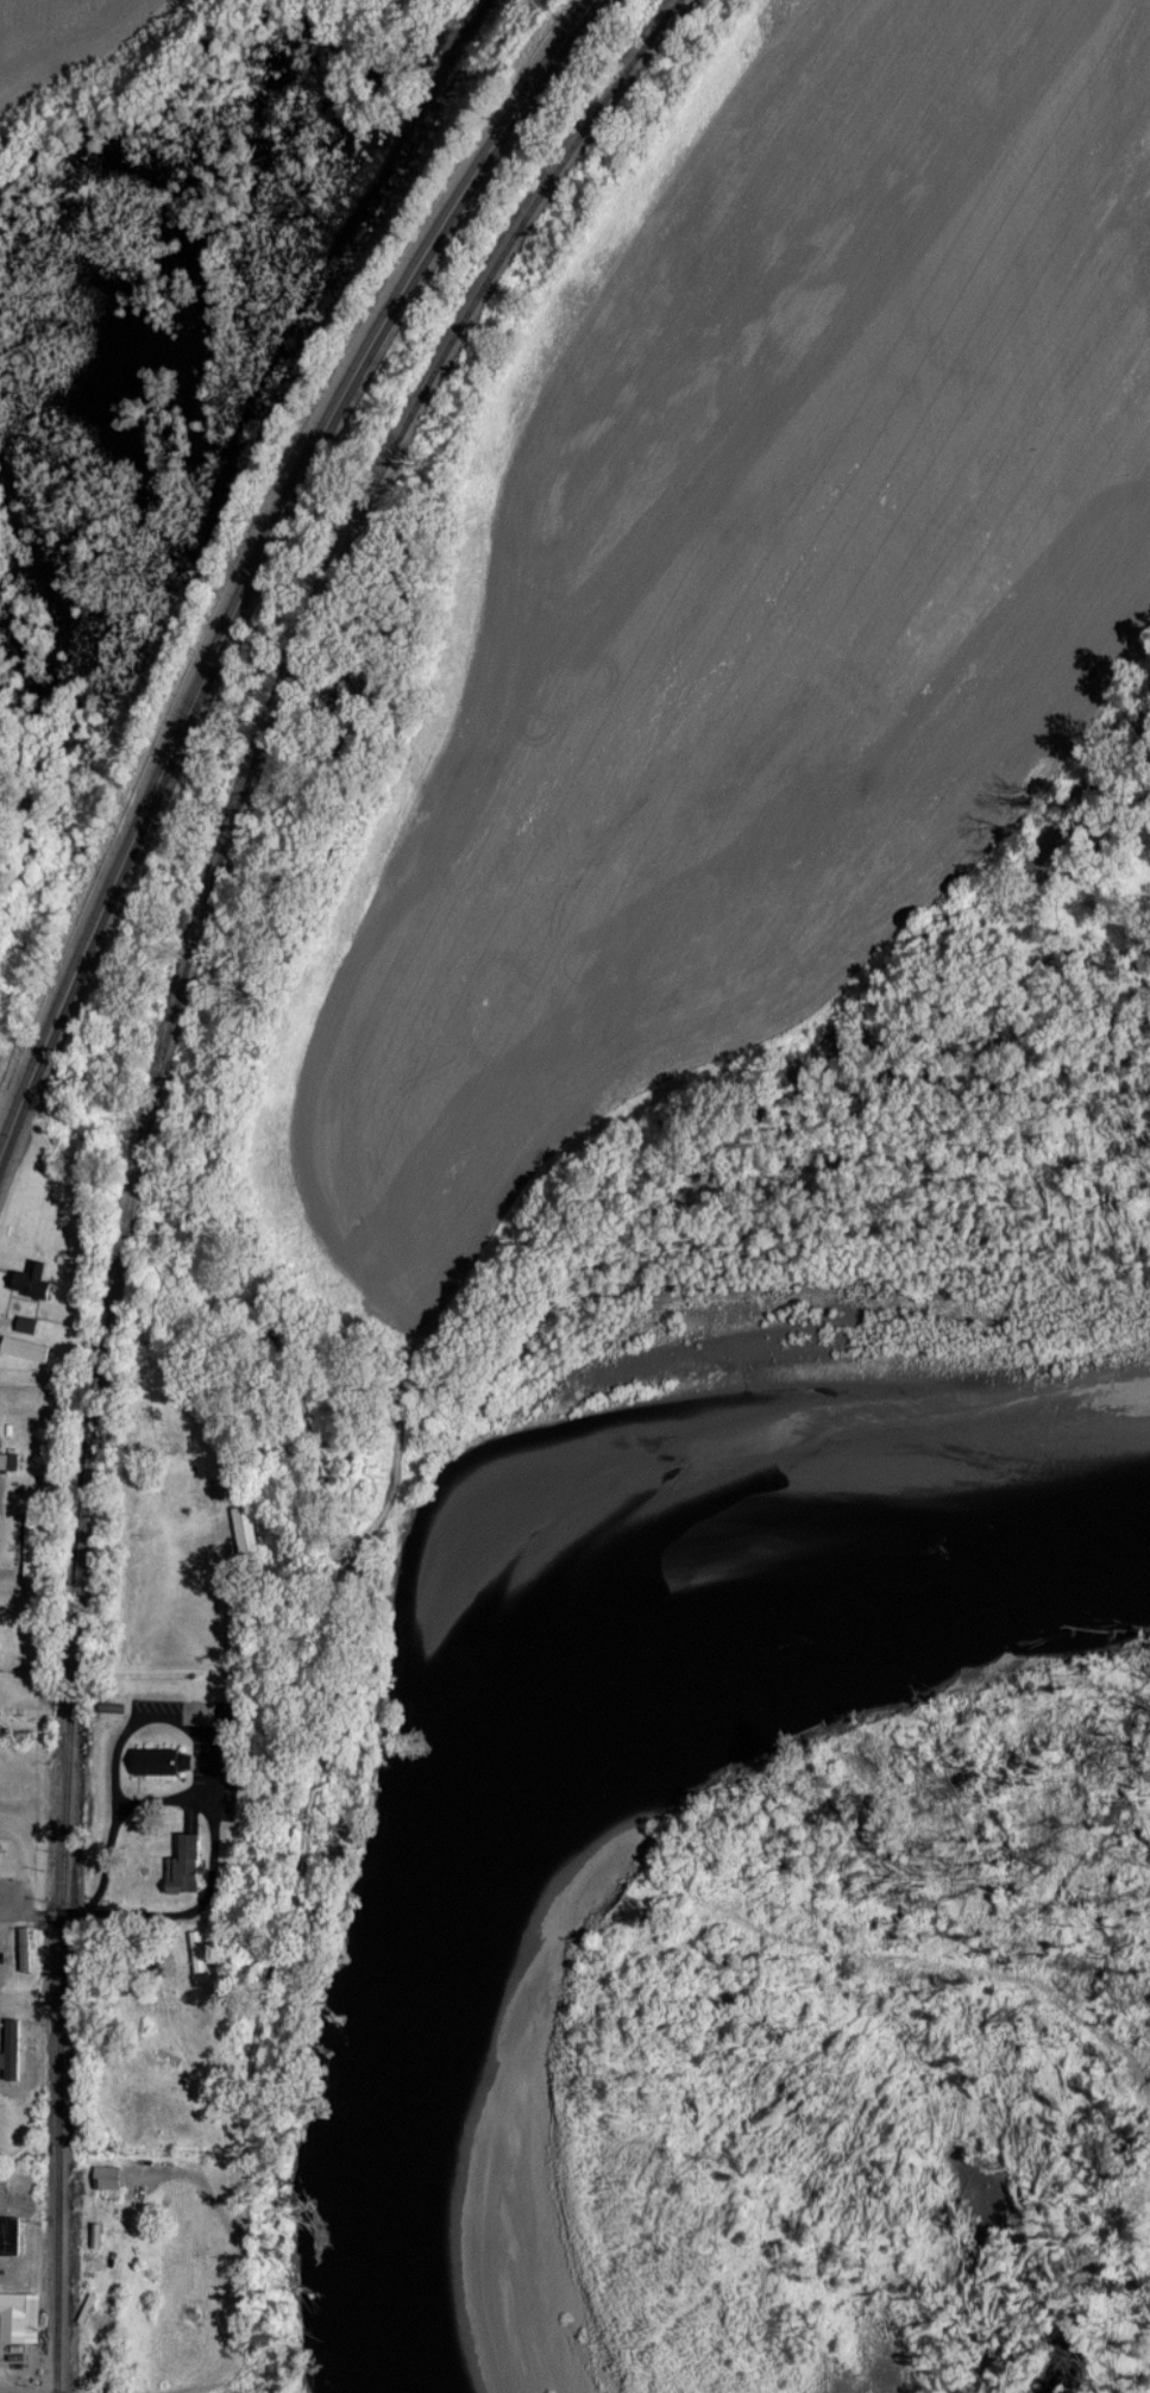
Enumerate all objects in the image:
road: (266, 530)
road: (10, 1127)
railway: (146, 1133)
building: (27, 1278)
building: (23, 1323)
building: (23, 1347)
building: (7, 1460)
building: (240, 1528)
building: (26, 1547)
road: (226, 1633)
river: (491, 1656)
road: (219, 1758)
building: (161, 1760)
road: (166, 1800)
building: (178, 1865)
road: (23, 1916)
building: (195, 1955)
building: (103, 2175)
building: (7, 2235)
building: (18, 2317)

